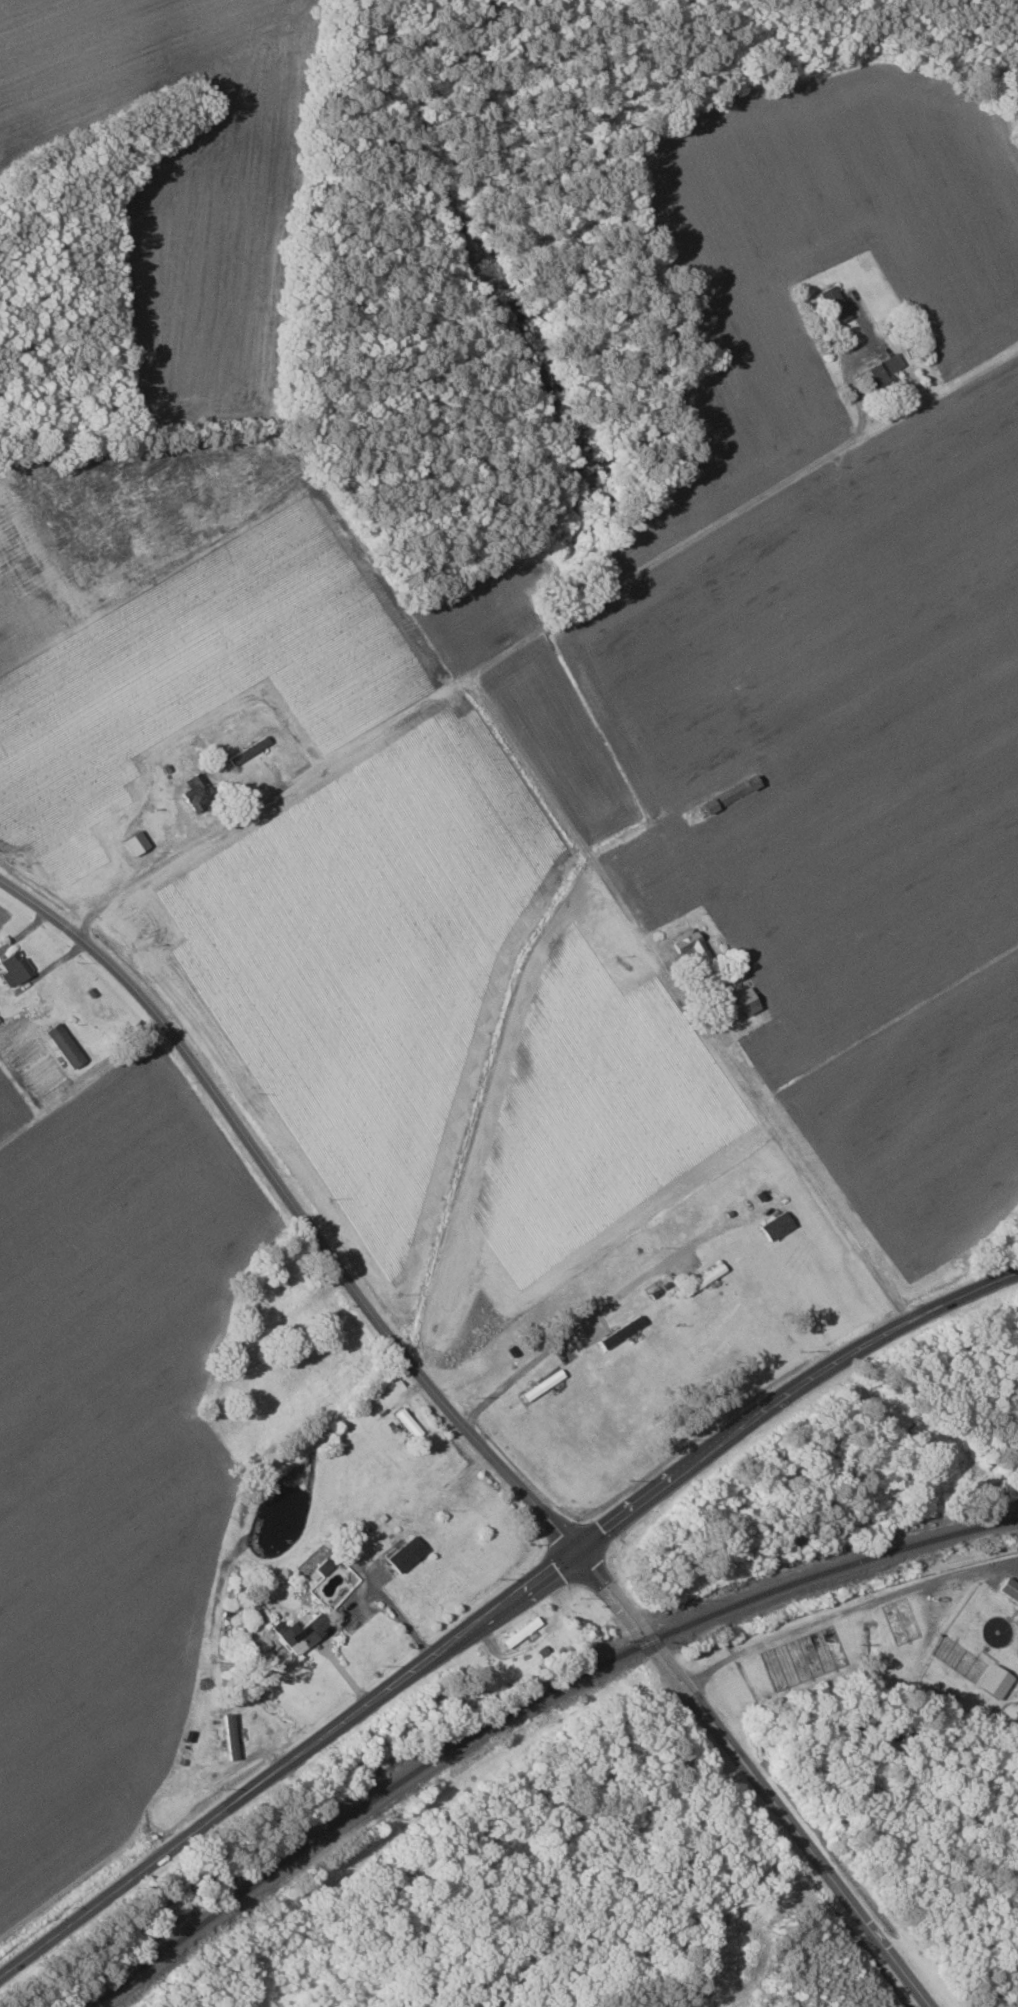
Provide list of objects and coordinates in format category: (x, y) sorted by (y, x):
building: (832, 303)
building: (882, 368)
road: (666, 559)
building: (192, 790)
road: (558, 802)
building: (133, 842)
building: (13, 967)
building: (63, 1044)
road: (198, 1069)
building: (775, 1232)
building: (701, 1280)
road: (580, 1324)
building: (618, 1333)
road: (461, 1424)
traffic signals: (571, 1550)
building: (403, 1554)
building: (321, 1565)
road: (541, 1572)
building: (1008, 1588)
road: (848, 1608)
building: (519, 1631)
building: (299, 1632)
building: (992, 1681)
railway: (551, 1690)
building: (229, 1735)
road: (755, 1773)
road: (45, 1946)
railway: (114, 1988)

